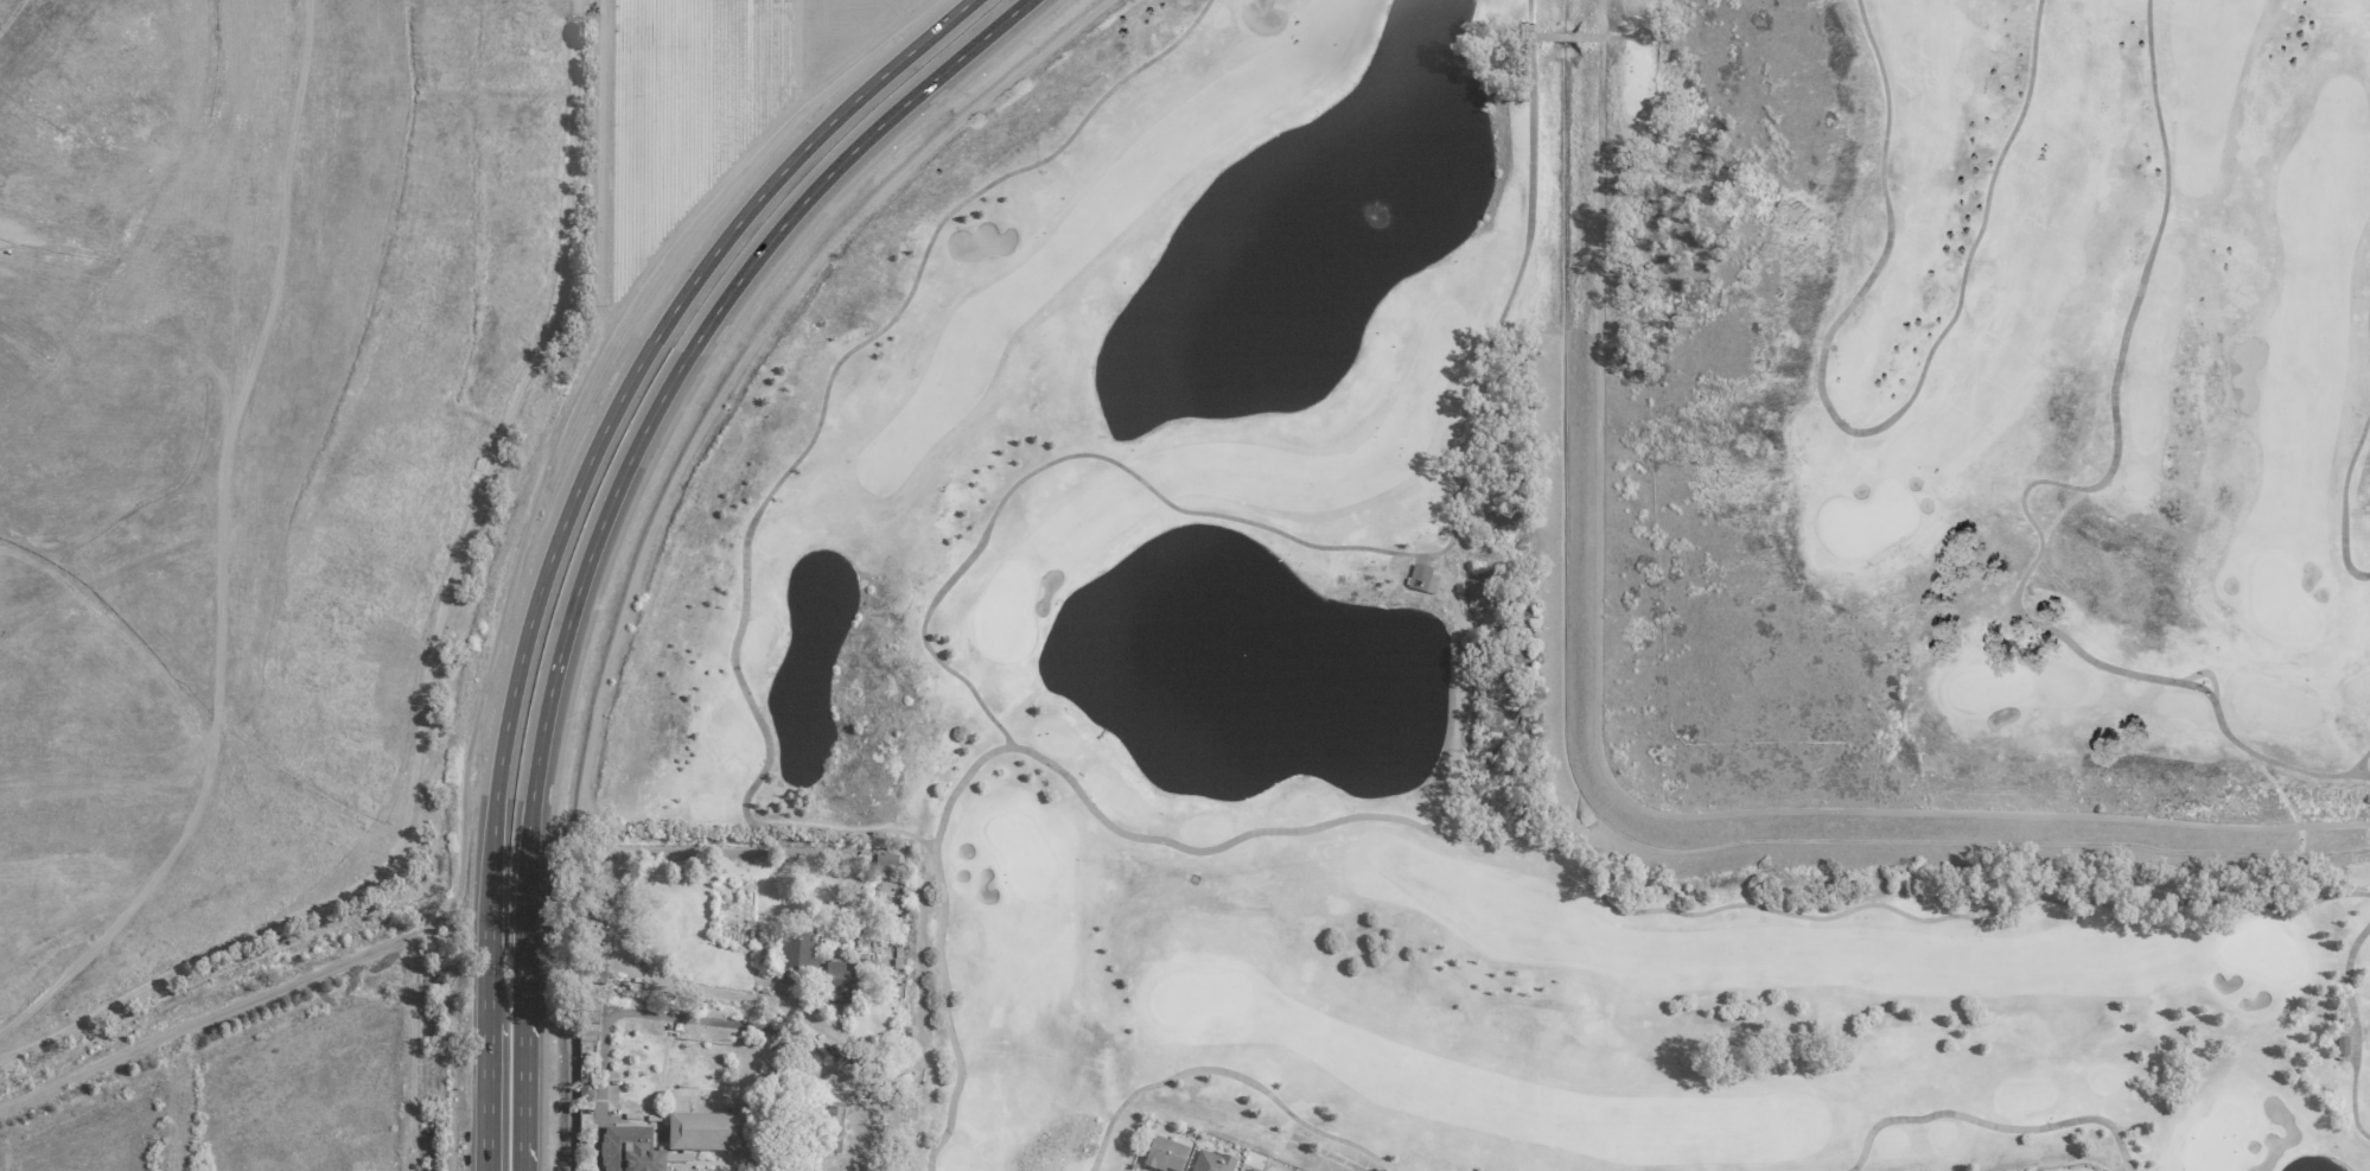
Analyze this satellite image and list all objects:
road: (1586, 38)
fountain: (1371, 218)
road: (2369, 322)
road: (744, 358)
road: (613, 409)
park: (243, 412)
road: (1865, 432)
road: (811, 438)
road: (2037, 482)
road: (2343, 496)
road: (606, 511)
road: (1334, 548)
building: (1422, 580)
park: (1580, 592)
fountain: (1256, 674)
road: (2209, 675)
road: (1458, 689)
road: (2358, 762)
road: (1607, 776)
road: (2280, 794)
road: (1458, 840)
road: (2300, 849)
road: (2295, 879)
building: (794, 956)
road: (488, 980)
building: (840, 985)
road: (2356, 1031)
building: (2342, 1046)
road: (1229, 1075)
crop: (255, 1083)
building: (586, 1090)
road: (486, 1097)
road: (1992, 1126)
building: (706, 1135)
building: (630, 1151)
building: (1165, 1157)
building: (1211, 1163)
road: (527, 1167)
building: (1251, 1170)

